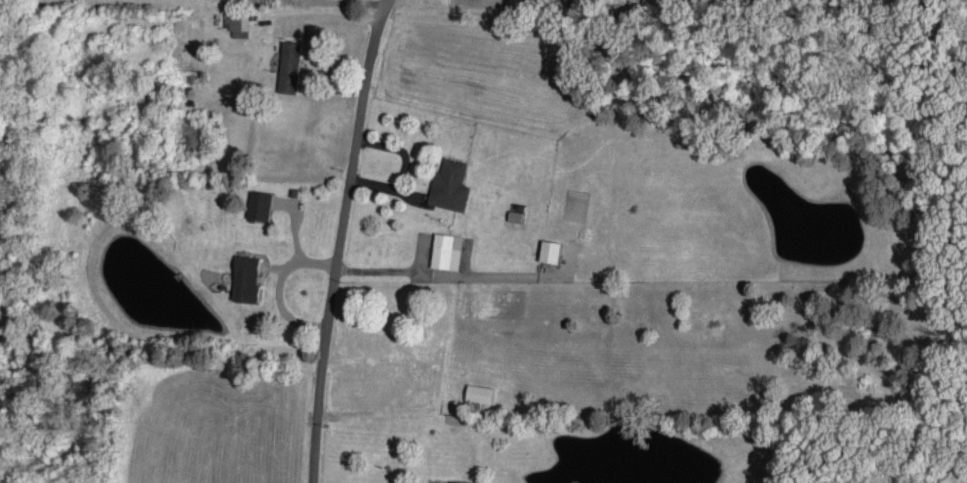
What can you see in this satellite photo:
building: (236, 18)
building: (288, 64)
building: (448, 183)
building: (257, 203)
road: (340, 239)
building: (445, 248)
building: (548, 248)
building: (244, 275)
building: (460, 480)
building: (573, 481)

